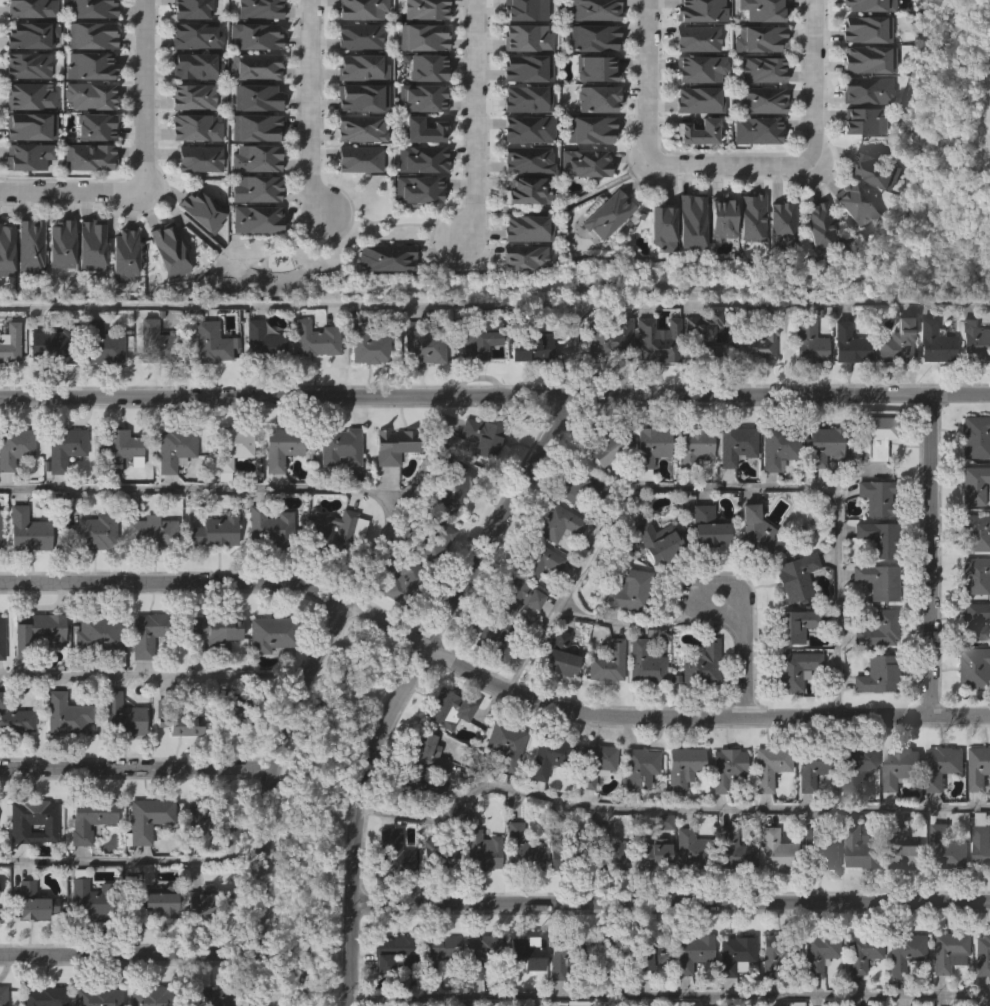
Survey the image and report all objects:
building: (594, 8)
building: (874, 11)
building: (25, 15)
building: (90, 15)
building: (194, 16)
building: (255, 17)
building: (354, 17)
building: (419, 17)
building: (526, 18)
building: (693, 18)
building: (756, 19)
building: (592, 34)
building: (863, 39)
building: (89, 45)
building: (27, 46)
building: (188, 46)
building: (256, 46)
building: (359, 47)
building: (422, 47)
building: (524, 48)
building: (590, 48)
building: (758, 48)
building: (697, 49)
building: (869, 59)
building: (528, 65)
building: (595, 66)
building: (362, 67)
building: (701, 68)
building: (29, 75)
building: (88, 76)
building: (193, 77)
building: (252, 77)
building: (419, 78)
building: (590, 78)
building: (524, 79)
building: (693, 79)
building: (755, 79)
road: (814, 80)
road: (649, 81)
building: (867, 87)
building: (597, 95)
building: (363, 96)
building: (526, 97)
road: (144, 98)
building: (418, 98)
building: (762, 99)
building: (699, 100)
building: (864, 100)
building: (25, 106)
building: (86, 106)
building: (193, 107)
building: (251, 107)
road: (312, 108)
building: (592, 109)
building: (865, 118)
road: (478, 122)
building: (528, 126)
building: (588, 126)
building: (424, 128)
building: (361, 129)
building: (700, 130)
building: (754, 131)
building: (86, 136)
building: (27, 137)
building: (190, 137)
building: (253, 138)
building: (594, 138)
building: (523, 139)
building: (528, 157)
building: (253, 158)
building: (360, 159)
building: (418, 160)
building: (584, 160)
road: (727, 163)
building: (27, 167)
building: (93, 167)
building: (192, 168)
building: (524, 170)
building: (873, 170)
building: (752, 171)
building: (694, 172)
building: (526, 187)
building: (256, 188)
building: (414, 190)
road: (73, 196)
building: (26, 197)
building: (87, 197)
building: (197, 199)
building: (356, 199)
building: (524, 200)
building: (856, 201)
building: (581, 204)
building: (606, 212)
building: (721, 213)
building: (751, 214)
building: (690, 218)
building: (252, 219)
building: (661, 223)
building: (781, 223)
building: (821, 224)
building: (529, 229)
building: (414, 230)
building: (852, 245)
building: (30, 246)
building: (6, 249)
building: (170, 250)
building: (199, 251)
building: (604, 255)
building: (386, 257)
building: (717, 257)
building: (747, 258)
building: (253, 259)
building: (687, 261)
building: (778, 267)
building: (657, 268)
building: (816, 268)
building: (523, 269)
building: (57, 285)
building: (88, 285)
building: (27, 287)
building: (4, 289)
building: (166, 291)
building: (121, 295)
building: (382, 298)
building: (520, 298)
road: (494, 302)
building: (701, 332)
building: (476, 336)
building: (319, 338)
building: (605, 338)
building: (656, 339)
building: (897, 339)
building: (935, 340)
building: (973, 340)
building: (213, 341)
building: (807, 341)
building: (159, 342)
building: (368, 342)
building: (267, 343)
building: (421, 343)
building: (757, 343)
building: (847, 343)
building: (102, 344)
building: (11, 345)
building: (57, 345)
building: (529, 347)
building: (701, 374)
building: (151, 380)
building: (312, 380)
building: (259, 381)
building: (606, 381)
building: (653, 382)
building: (805, 382)
building: (8, 383)
building: (207, 383)
building: (893, 383)
building: (931, 383)
building: (973, 383)
building: (99, 384)
building: (475, 384)
building: (419, 385)
building: (845, 385)
building: (49, 386)
building: (364, 386)
building: (754, 386)
building: (527, 388)
road: (495, 397)
building: (875, 435)
building: (974, 435)
building: (480, 436)
building: (393, 443)
building: (736, 443)
building: (338, 445)
building: (691, 445)
building: (775, 445)
building: (822, 445)
building: (279, 446)
building: (65, 447)
building: (177, 448)
building: (228, 448)
building: (647, 448)
building: (14, 449)
building: (123, 449)
building: (609, 449)
road: (426, 456)
building: (873, 476)
building: (478, 477)
building: (118, 484)
road: (725, 484)
road: (250, 485)
building: (578, 485)
building: (732, 485)
building: (820, 485)
building: (974, 485)
building: (390, 486)
building: (689, 486)
building: (14, 487)
building: (336, 487)
building: (61, 488)
building: (279, 488)
building: (458, 488)
building: (774, 488)
building: (602, 489)
building: (170, 490)
building: (229, 490)
building: (646, 490)
building: (877, 496)
building: (555, 522)
building: (268, 526)
building: (451, 527)
building: (577, 527)
building: (705, 527)
building: (2, 529)
building: (28, 530)
building: (214, 530)
building: (94, 532)
building: (976, 532)
building: (154, 533)
building: (335, 533)
building: (760, 534)
building: (877, 538)
building: (425, 539)
building: (655, 540)
road: (933, 555)
building: (533, 558)
building: (554, 563)
building: (266, 566)
building: (704, 568)
building: (333, 570)
building: (24, 571)
building: (751, 571)
building: (146, 572)
building: (88, 573)
building: (210, 573)
building: (794, 575)
building: (974, 575)
building: (876, 579)
building: (402, 581)
building: (429, 581)
building: (654, 582)
building: (627, 589)
building: (505, 595)
building: (536, 601)
building: (976, 621)
building: (398, 624)
building: (794, 624)
building: (624, 629)
building: (877, 629)
building: (214, 630)
building: (41, 631)
building: (101, 631)
building: (152, 632)
building: (270, 633)
building: (2, 637)
building: (493, 637)
building: (512, 637)
road: (747, 640)
building: (557, 654)
building: (605, 662)
building: (643, 664)
building: (700, 664)
building: (975, 668)
building: (794, 669)
building: (35, 670)
building: (213, 671)
road: (154, 672)
building: (266, 674)
building: (94, 675)
building: (142, 675)
building: (877, 675)
road: (487, 678)
building: (490, 679)
building: (0, 680)
road: (409, 686)
building: (557, 695)
building: (604, 703)
building: (641, 704)
building: (698, 705)
building: (973, 708)
building: (446, 709)
building: (791, 709)
building: (230, 710)
building: (70, 715)
building: (873, 715)
building: (124, 716)
building: (15, 719)
building: (178, 719)
building: (506, 743)
building: (445, 749)
building: (423, 752)
building: (64, 754)
building: (118, 756)
building: (546, 756)
building: (14, 761)
building: (591, 764)
building: (177, 765)
building: (681, 765)
building: (770, 765)
building: (943, 765)
building: (811, 766)
building: (898, 766)
building: (725, 767)
building: (854, 767)
building: (978, 767)
road: (137, 769)
building: (636, 769)
building: (502, 785)
building: (415, 789)
road: (270, 795)
building: (544, 797)
building: (589, 803)
building: (679, 806)
building: (939, 806)
building: (723, 807)
building: (765, 807)
building: (852, 807)
building: (895, 807)
building: (976, 807)
building: (635, 808)
road: (664, 809)
building: (803, 813)
building: (152, 817)
building: (92, 818)
building: (212, 818)
building: (35, 821)
building: (420, 825)
building: (982, 839)
building: (732, 846)
building: (519, 849)
building: (604, 849)
building: (861, 849)
building: (903, 849)
building: (945, 849)
building: (479, 850)
building: (690, 850)
building: (817, 850)
building: (391, 851)
building: (776, 852)
building: (195, 853)
building: (563, 853)
building: (651, 854)
building: (438, 855)
road: (131, 858)
building: (144, 858)
building: (86, 860)
building: (30, 862)
building: (224, 866)
building: (605, 887)
building: (858, 887)
building: (979, 887)
building: (517, 888)
building: (685, 889)
building: (944, 889)
building: (390, 890)
building: (730, 890)
building: (773, 890)
building: (477, 891)
building: (902, 892)
building: (551, 895)
building: (649, 895)
building: (435, 896)
building: (826, 897)
building: (95, 898)
building: (153, 899)
road: (670, 902)
building: (37, 903)
building: (213, 903)
building: (82, 937)
building: (199, 941)
building: (156, 942)
building: (31, 943)
building: (523, 949)
building: (950, 950)
building: (860, 951)
building: (390, 952)
building: (693, 952)
building: (903, 952)
building: (606, 953)
building: (733, 953)
building: (774, 953)
building: (817, 953)
building: (433, 954)
building: (476, 954)
building: (564, 954)
road: (130, 955)
building: (981, 955)
building: (650, 956)
building: (579, 986)
building: (522, 988)
building: (859, 988)
building: (477, 989)
building: (733, 989)
building: (816, 989)
building: (945, 989)
building: (436, 990)
building: (690, 990)
building: (775, 990)
building: (980, 990)
building: (389, 991)
building: (555, 994)
building: (648, 994)
building: (5, 996)
building: (47, 996)
building: (101, 996)
building: (152, 996)
building: (207, 996)
road: (669, 997)
building: (897, 1004)

